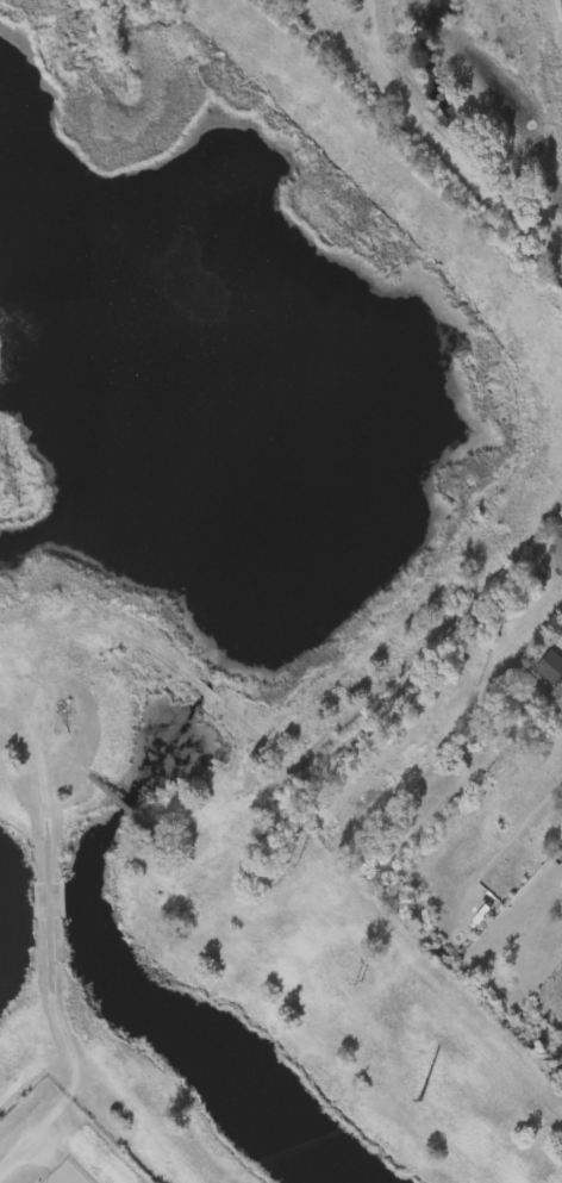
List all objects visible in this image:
road: (561, 554)
wastewater plant: (233, 599)
road: (442, 647)
building: (550, 666)
building: (537, 670)
road: (35, 712)
road: (30, 1141)

